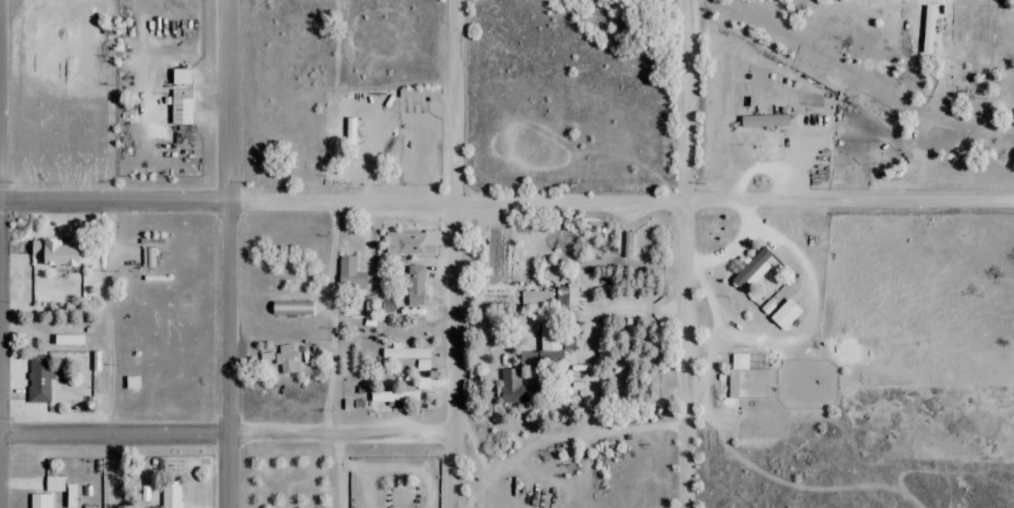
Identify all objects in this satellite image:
building: (180, 77)
building: (181, 107)
building: (763, 120)
road: (506, 204)
building: (411, 242)
building: (628, 245)
building: (55, 252)
road: (110, 253)
road: (230, 253)
road: (458, 254)
road: (686, 254)
building: (149, 257)
building: (752, 269)
building: (350, 274)
building: (415, 285)
building: (551, 297)
building: (292, 308)
building: (370, 313)
building: (784, 314)
building: (549, 345)
building: (404, 352)
road: (331, 356)
building: (287, 358)
building: (525, 359)
building: (739, 361)
building: (39, 379)
building: (512, 387)
building: (393, 397)
road: (227, 436)
building: (61, 488)
building: (172, 494)
building: (40, 501)

